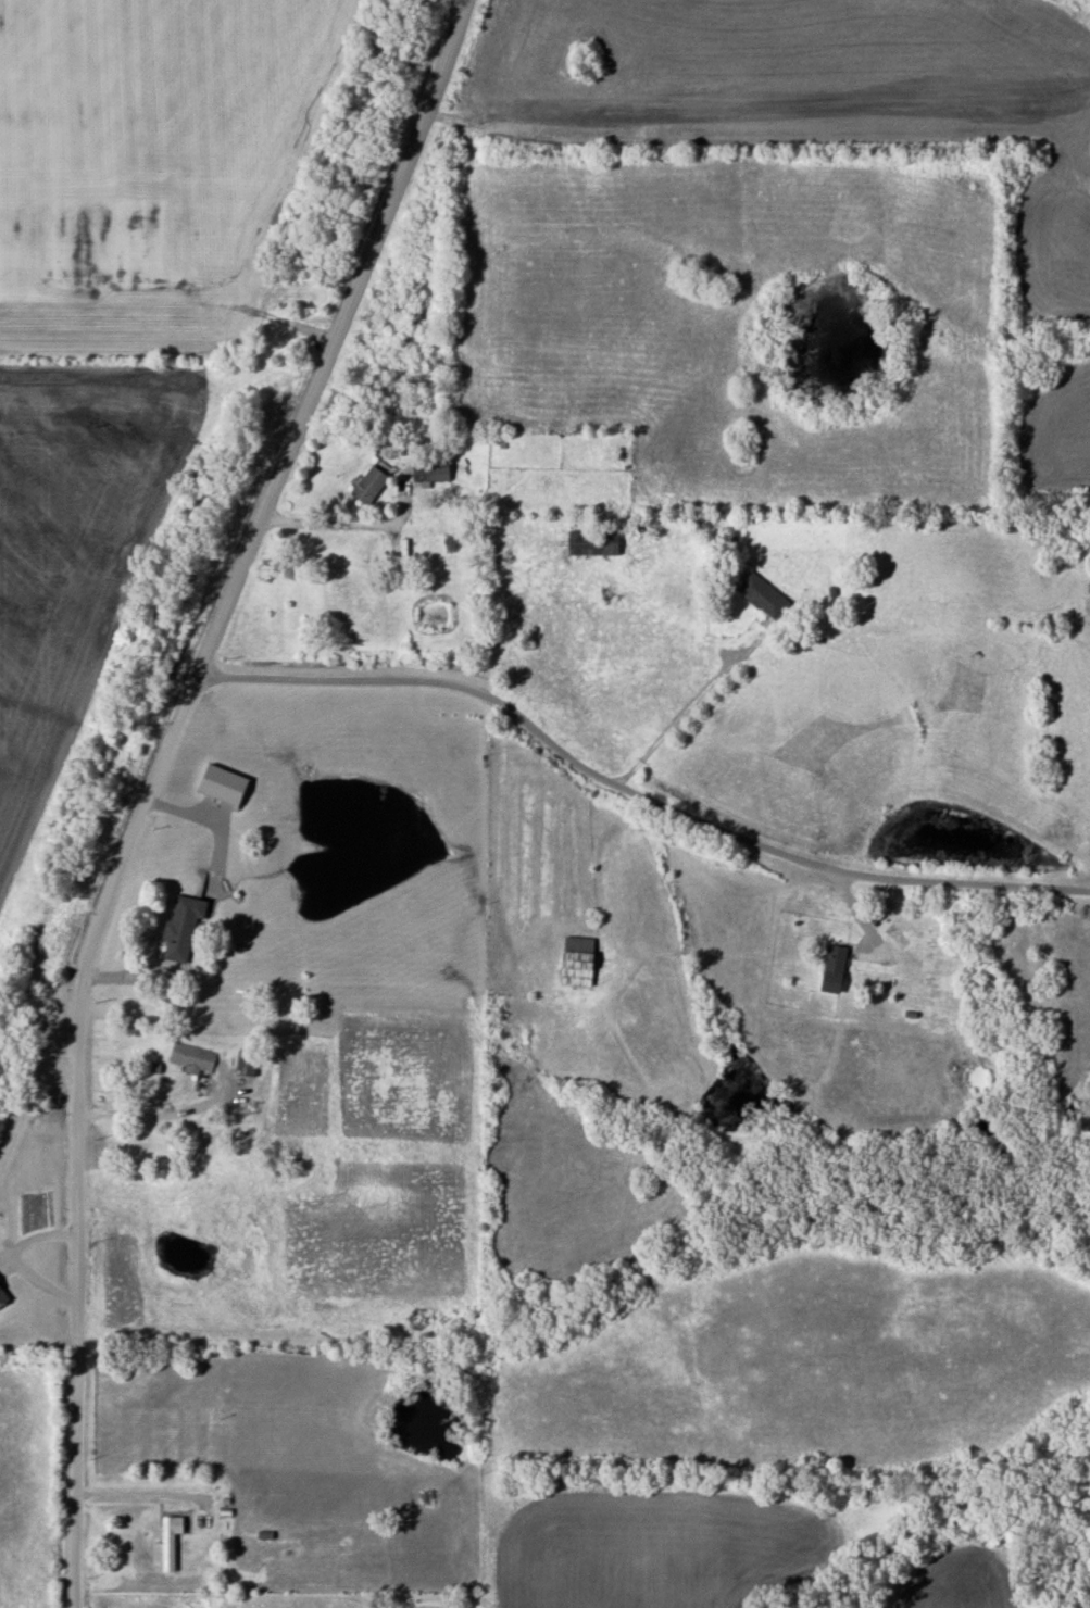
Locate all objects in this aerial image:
building: (430, 469)
building: (550, 485)
road: (334, 524)
building: (592, 544)
building: (761, 598)
road: (674, 725)
road: (152, 784)
building: (268, 784)
road: (632, 795)
building: (181, 928)
building: (576, 962)
building: (832, 970)
building: (192, 1058)
building: (246, 1063)
building: (285, 1100)
road: (150, 1115)
building: (2, 1299)
road: (127, 1494)
building: (171, 1542)

